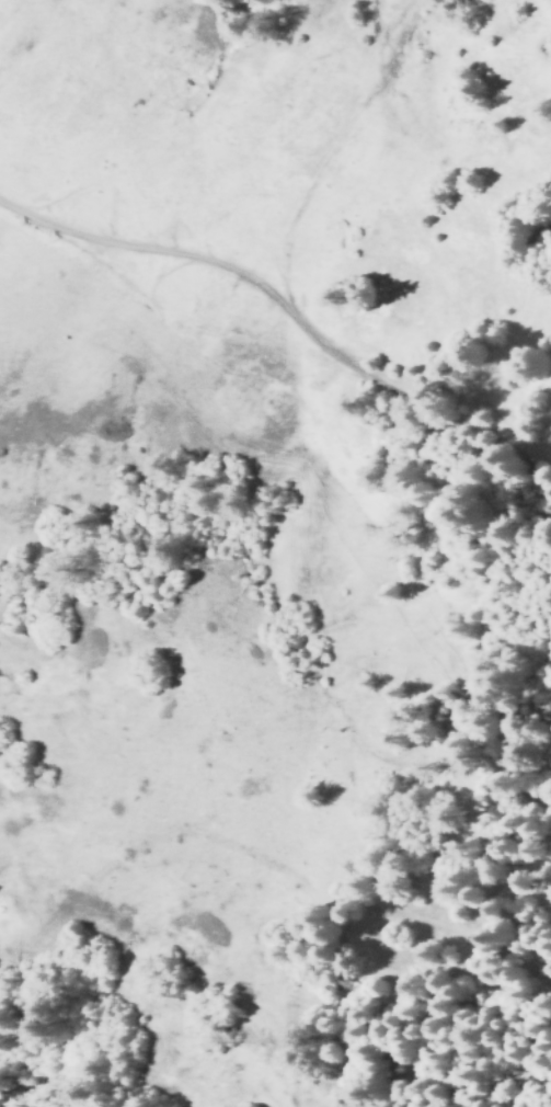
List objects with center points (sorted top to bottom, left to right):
road: (284, 354)

